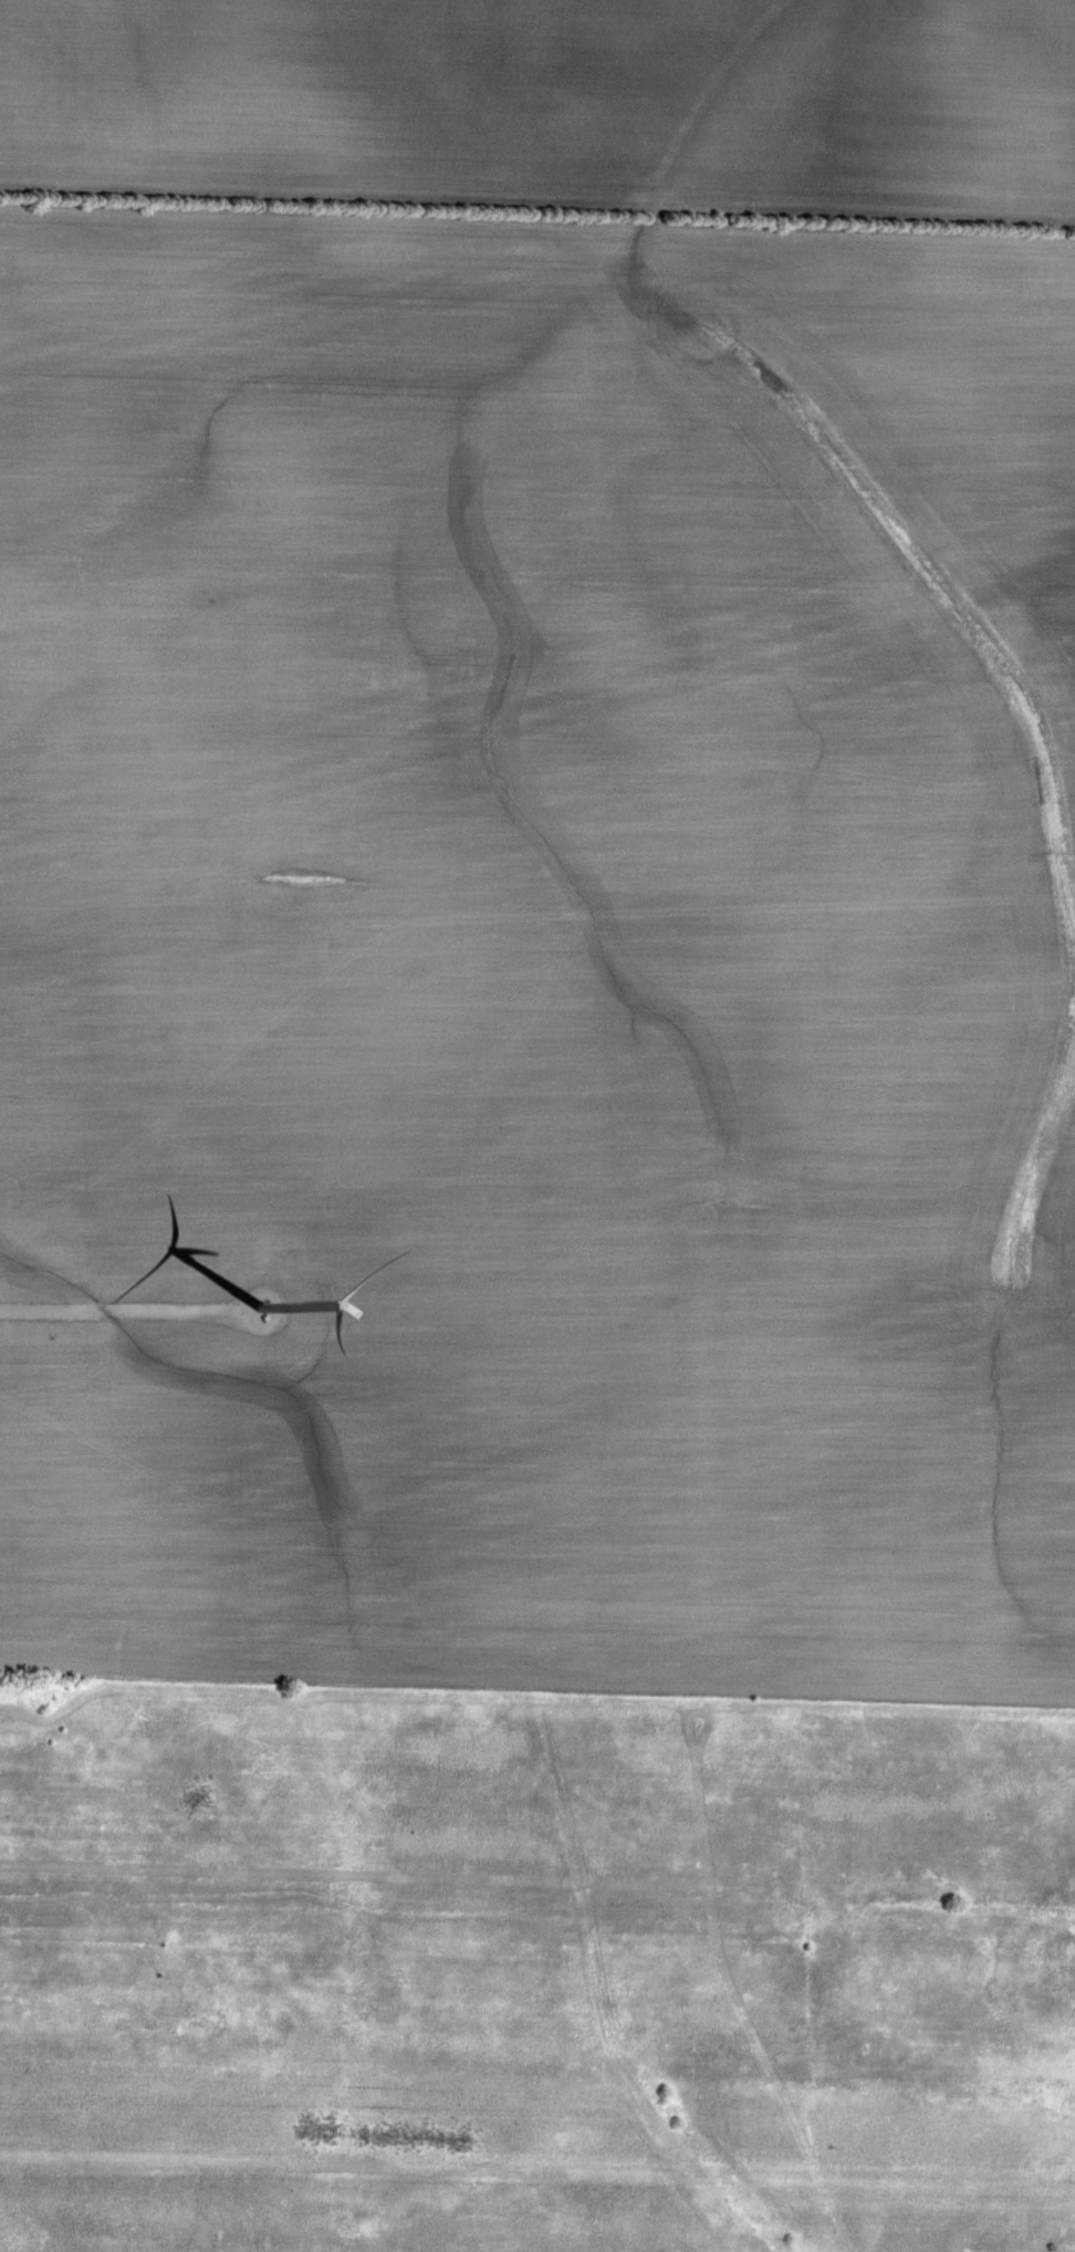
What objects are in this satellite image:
wind turbine: (262, 1309)
road: (123, 1310)

